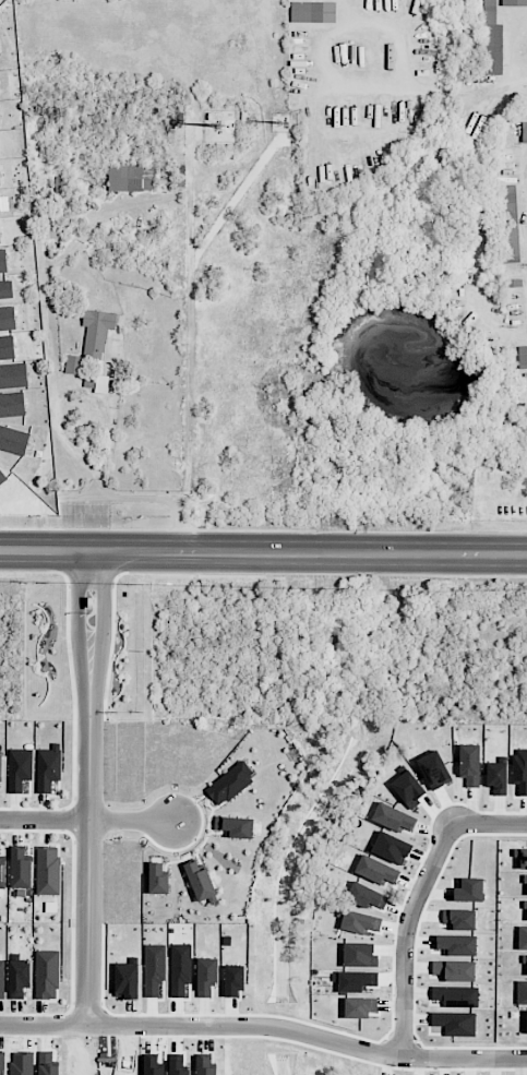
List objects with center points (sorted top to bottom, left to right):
building: (514, 2)
building: (313, 12)
building: (492, 40)
road: (517, 50)
road: (339, 81)
building: (525, 107)
building: (524, 131)
building: (131, 178)
building: (507, 224)
building: (51, 226)
building: (0, 239)
building: (3, 260)
building: (7, 289)
building: (8, 318)
building: (93, 342)
building: (7, 347)
road: (192, 356)
building: (523, 357)
building: (14, 375)
building: (100, 384)
building: (12, 404)
road: (105, 417)
building: (13, 439)
building: (2, 477)
road: (263, 554)
building: (469, 765)
building: (0, 767)
building: (48, 767)
building: (20, 768)
building: (434, 769)
building: (520, 771)
building: (496, 778)
building: (230, 784)
road: (88, 788)
building: (408, 788)
road: (85, 820)
road: (490, 823)
building: (235, 827)
building: (391, 848)
building: (21, 869)
building: (48, 870)
building: (376, 870)
building: (2, 872)
building: (201, 882)
building: (469, 891)
building: (366, 896)
building: (459, 919)
building: (359, 922)
road: (404, 935)
building: (456, 945)
building: (181, 968)
building: (455, 970)
building: (46, 975)
building: (19, 978)
building: (2, 979)
building: (127, 980)
building: (455, 996)
building: (360, 1007)
building: (455, 1023)
road: (265, 1024)
building: (2, 1064)
building: (22, 1064)
building: (47, 1064)
building: (154, 1065)
building: (205, 1066)
building: (179, 1067)

